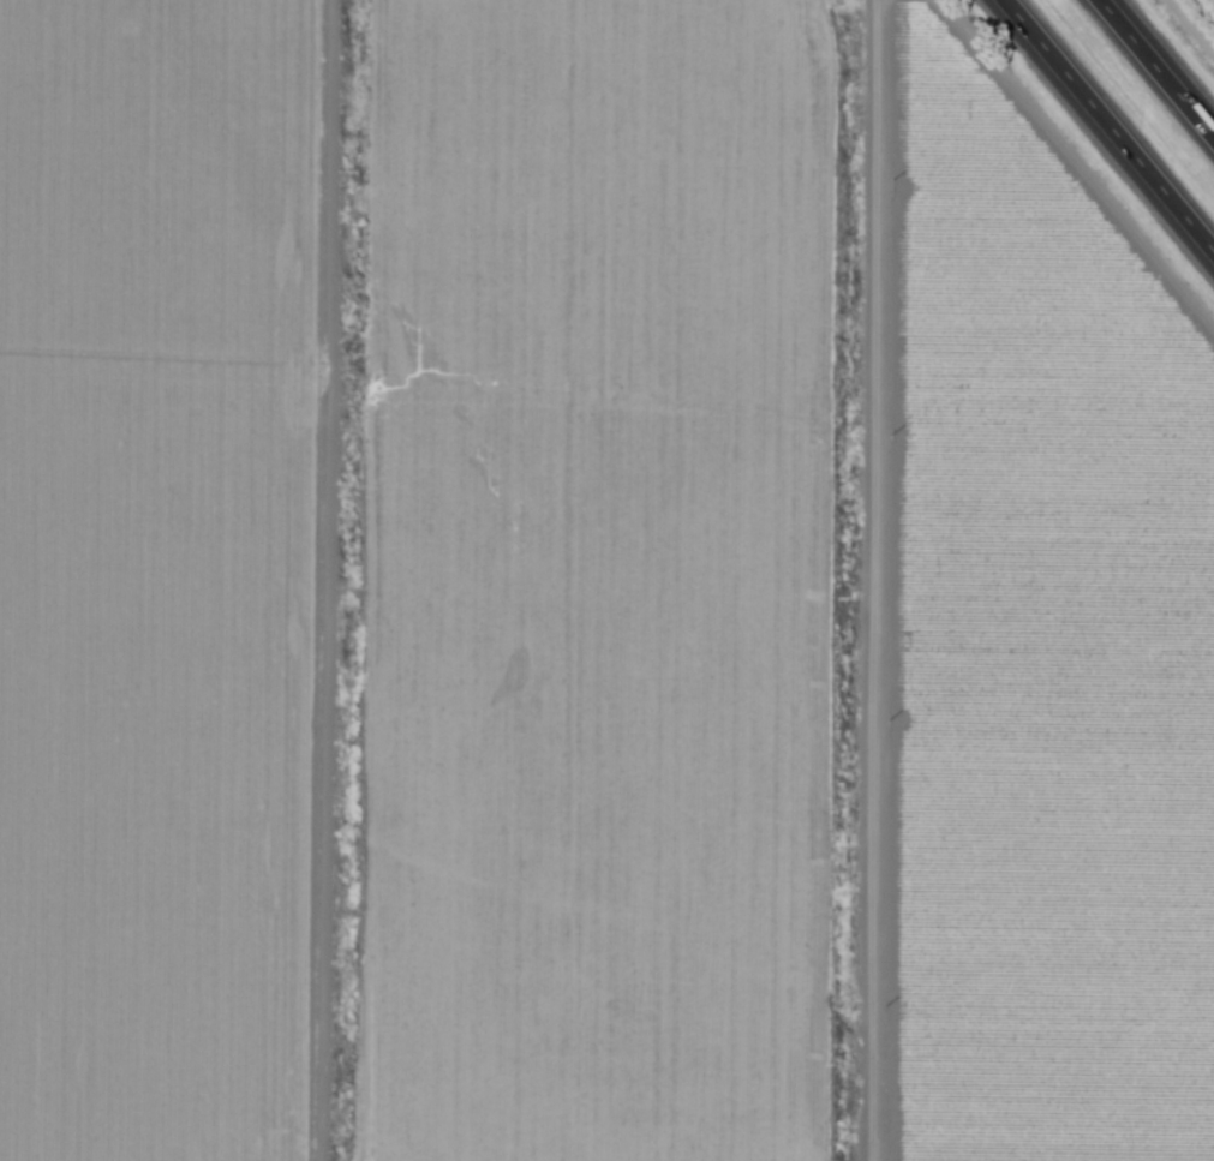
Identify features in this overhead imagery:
road: (1155, 70)
road: (1108, 126)

